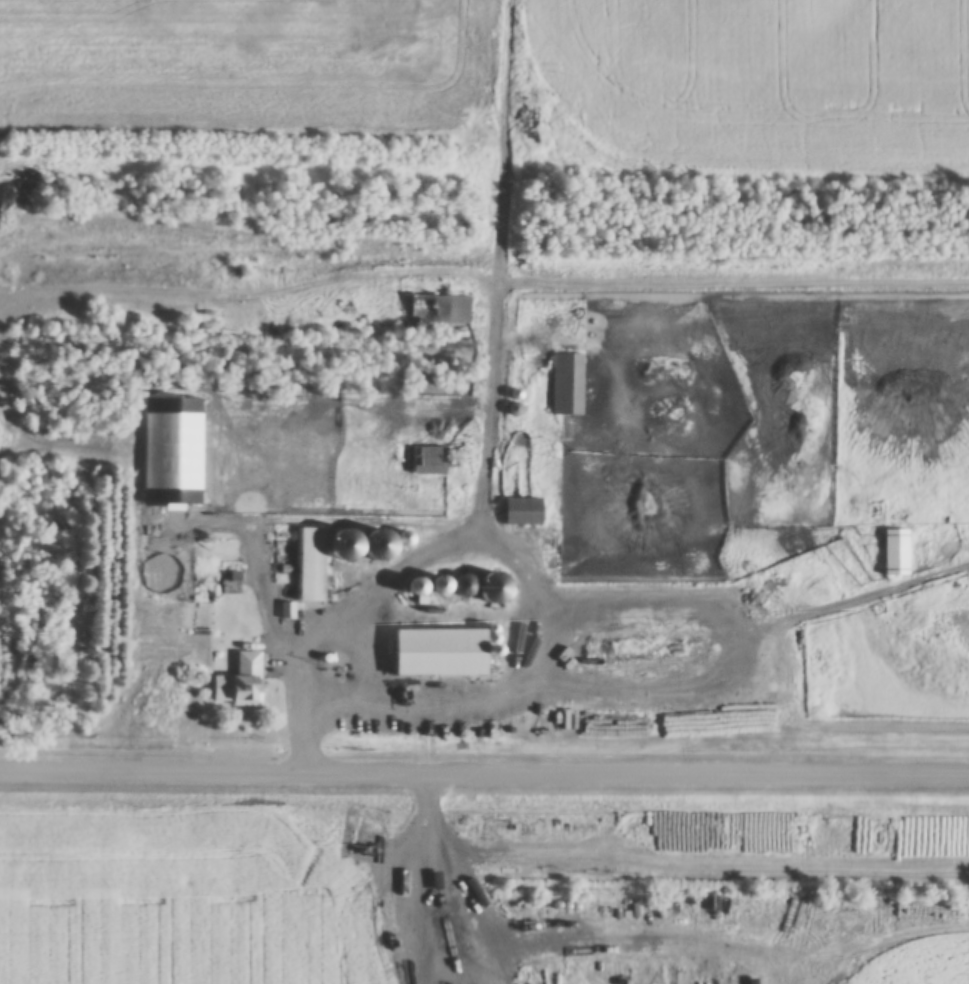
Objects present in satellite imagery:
road: (506, 143)
road: (265, 286)
building: (438, 310)
building: (566, 385)
road: (489, 414)
building: (317, 458)
building: (427, 462)
building: (522, 512)
building: (374, 547)
building: (895, 551)
road: (502, 553)
building: (319, 564)
road: (753, 598)
building: (436, 655)
building: (239, 684)
road: (484, 772)
building: (937, 839)
building: (436, 933)

